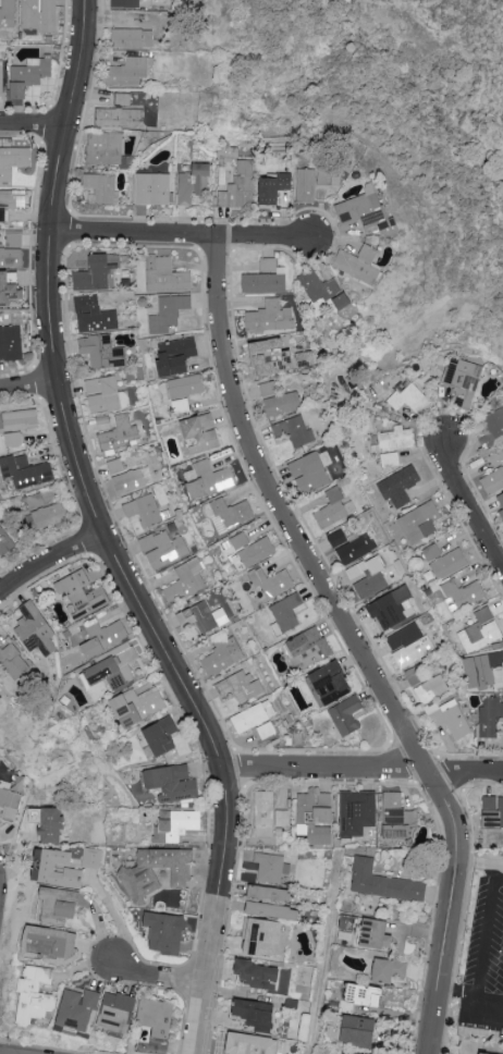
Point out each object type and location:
building: (124, 4)
building: (8, 13)
building: (39, 16)
building: (121, 20)
building: (131, 41)
building: (128, 74)
building: (1, 76)
building: (27, 81)
building: (119, 121)
road: (33, 123)
building: (105, 151)
building: (12, 164)
building: (201, 182)
building: (242, 188)
building: (306, 188)
building: (100, 192)
building: (152, 193)
building: (320, 193)
building: (272, 194)
building: (11, 206)
building: (365, 216)
road: (181, 234)
building: (10, 254)
road: (235, 254)
building: (358, 266)
building: (96, 277)
building: (165, 279)
building: (265, 280)
building: (323, 292)
building: (7, 293)
building: (168, 317)
building: (269, 320)
building: (97, 326)
building: (10, 346)
building: (99, 353)
building: (271, 355)
building: (176, 359)
building: (463, 379)
road: (27, 384)
building: (268, 389)
building: (185, 390)
building: (105, 401)
building: (280, 406)
building: (21, 419)
building: (493, 428)
road: (419, 430)
building: (293, 431)
building: (13, 438)
building: (119, 438)
building: (200, 438)
building: (395, 439)
building: (389, 458)
building: (496, 458)
building: (121, 464)
building: (27, 470)
building: (309, 474)
building: (126, 480)
building: (493, 481)
building: (209, 483)
building: (398, 485)
building: (501, 499)
road: (468, 506)
building: (331, 510)
building: (44, 512)
building: (502, 513)
building: (147, 514)
building: (232, 515)
building: (419, 522)
road: (103, 536)
building: (5, 541)
building: (348, 548)
building: (163, 551)
building: (251, 552)
building: (432, 552)
road: (48, 557)
building: (449, 563)
building: (367, 577)
building: (184, 585)
building: (272, 586)
building: (463, 592)
building: (82, 595)
building: (391, 609)
building: (287, 614)
building: (197, 622)
building: (35, 628)
building: (479, 630)
building: (103, 636)
road: (353, 644)
building: (309, 646)
building: (408, 647)
building: (218, 660)
building: (12, 663)
building: (113, 667)
building: (486, 670)
building: (331, 686)
building: (240, 690)
building: (430, 690)
building: (137, 706)
building: (346, 719)
building: (490, 719)
building: (251, 720)
building: (446, 720)
building: (266, 734)
building: (162, 736)
road: (361, 768)
building: (172, 781)
building: (357, 812)
building: (493, 812)
building: (268, 816)
building: (315, 817)
building: (393, 818)
building: (48, 823)
building: (177, 824)
building: (91, 857)
road: (478, 863)
building: (271, 867)
building: (59, 869)
building: (157, 871)
building: (382, 884)
building: (269, 893)
road: (464, 903)
building: (60, 904)
building: (165, 932)
building: (372, 934)
building: (262, 936)
building: (52, 942)
road: (492, 946)
road: (326, 956)
parking lot: (486, 961)
building: (387, 971)
building: (259, 976)
road: (159, 979)
building: (36, 994)
building: (363, 996)
road: (467, 1003)
building: (78, 1009)
building: (256, 1014)
building: (119, 1015)
building: (159, 1017)
building: (348, 1030)
building: (253, 1044)
building: (347, 1053)
building: (480, 1053)

